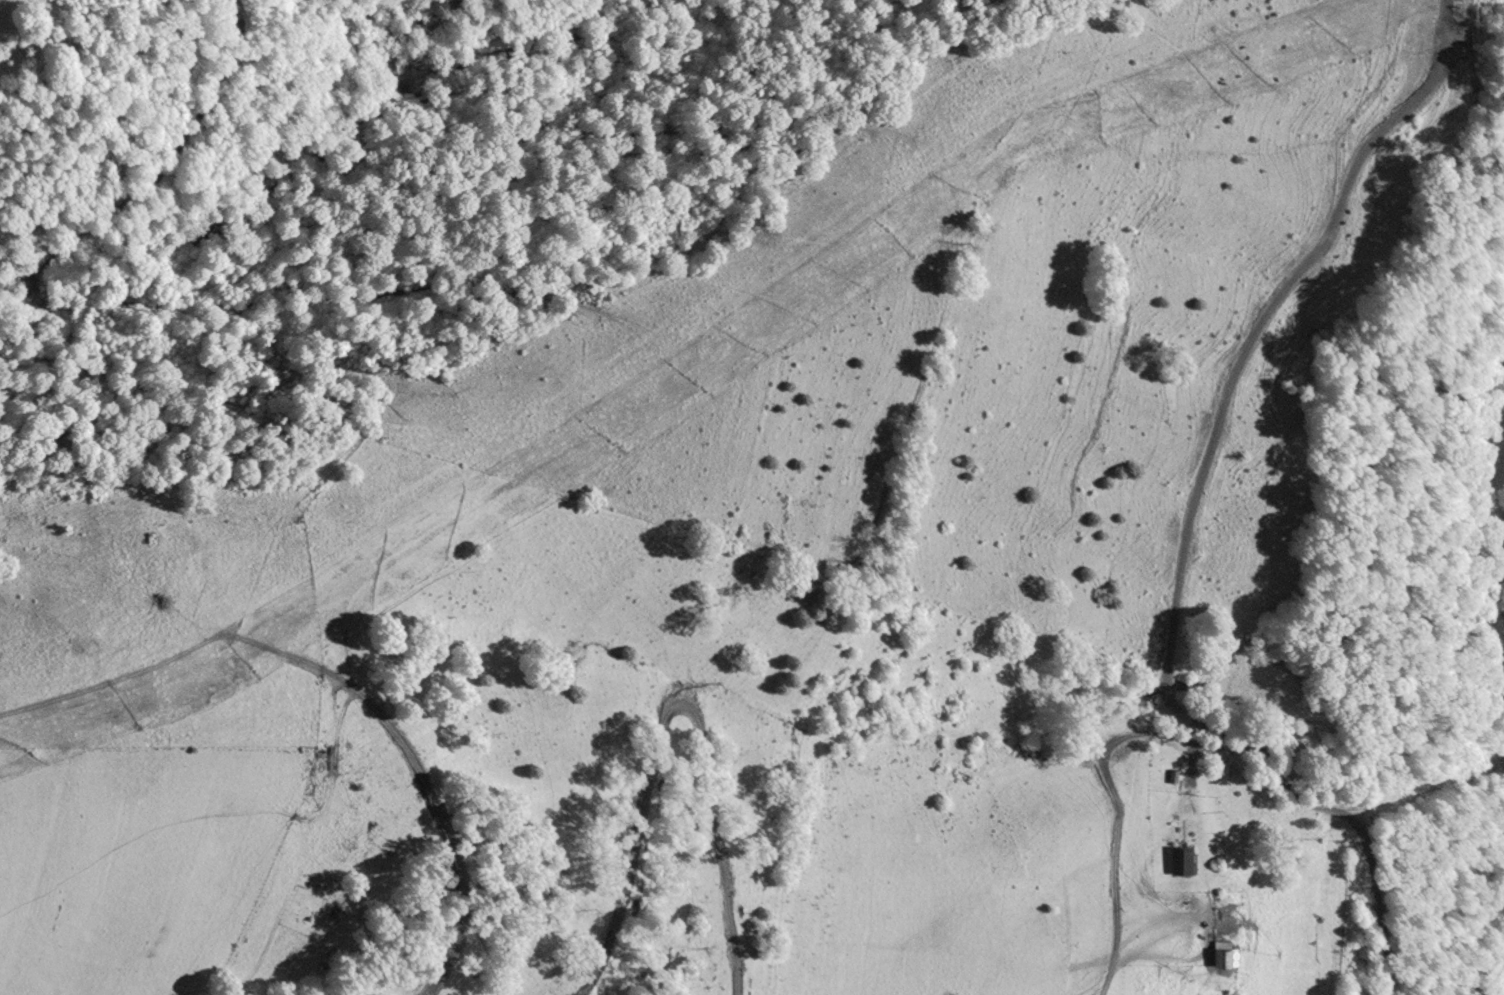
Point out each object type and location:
road: (1331, 809)
building: (1181, 861)
building: (1223, 955)

